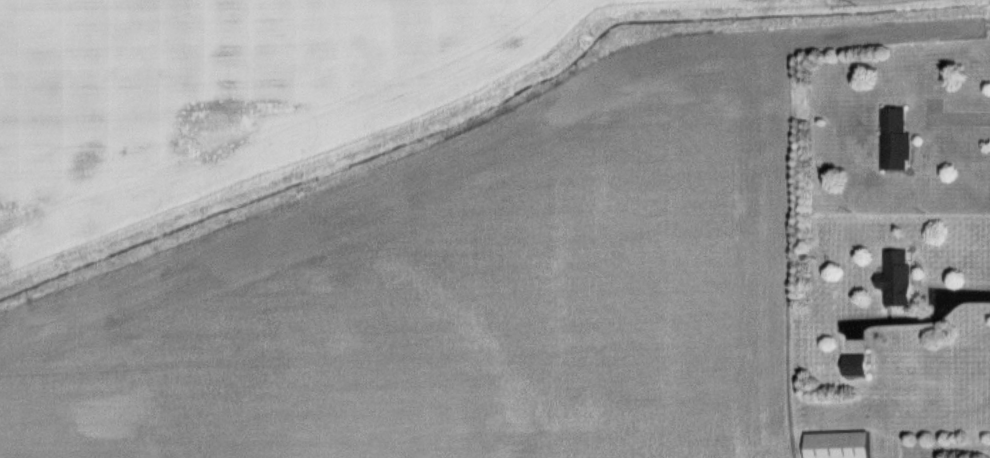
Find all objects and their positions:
road: (953, 118)
building: (900, 143)
building: (900, 276)
building: (861, 364)
building: (841, 447)

